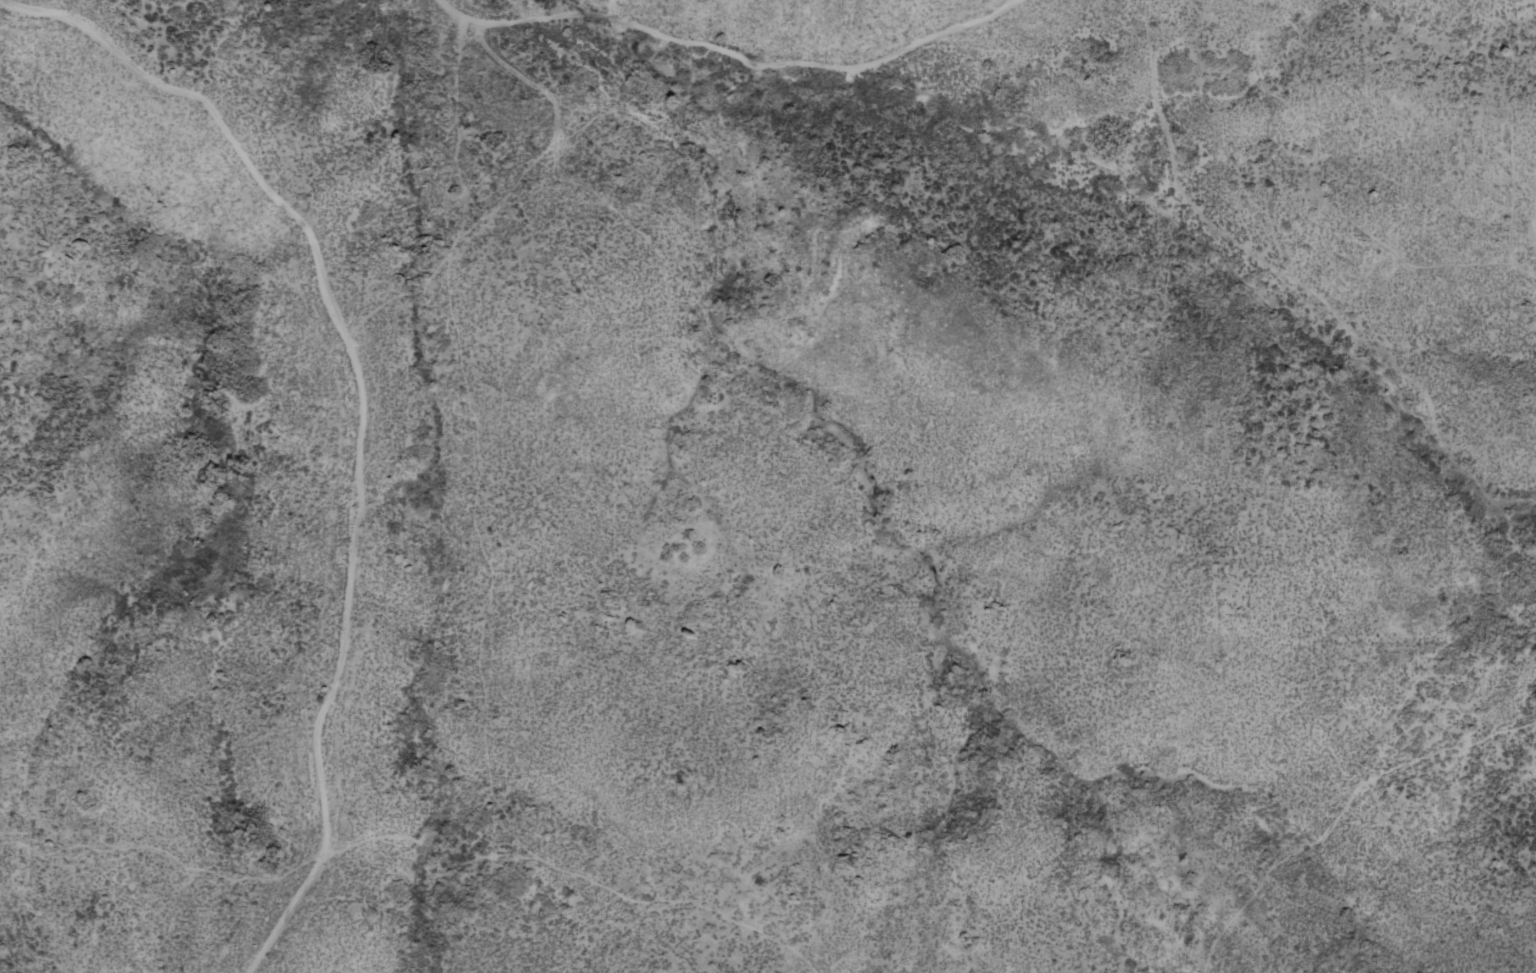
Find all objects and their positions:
road: (842, 15)

